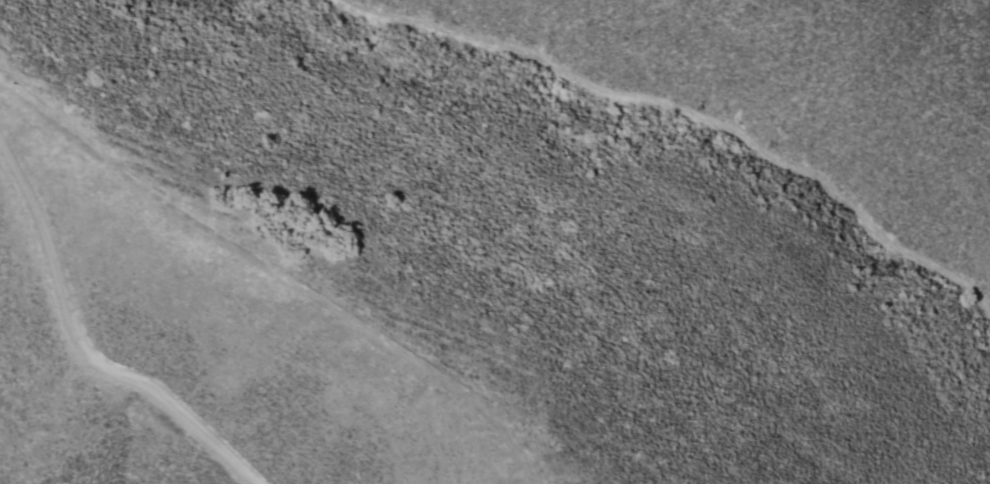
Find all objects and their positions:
road: (70, 344)

